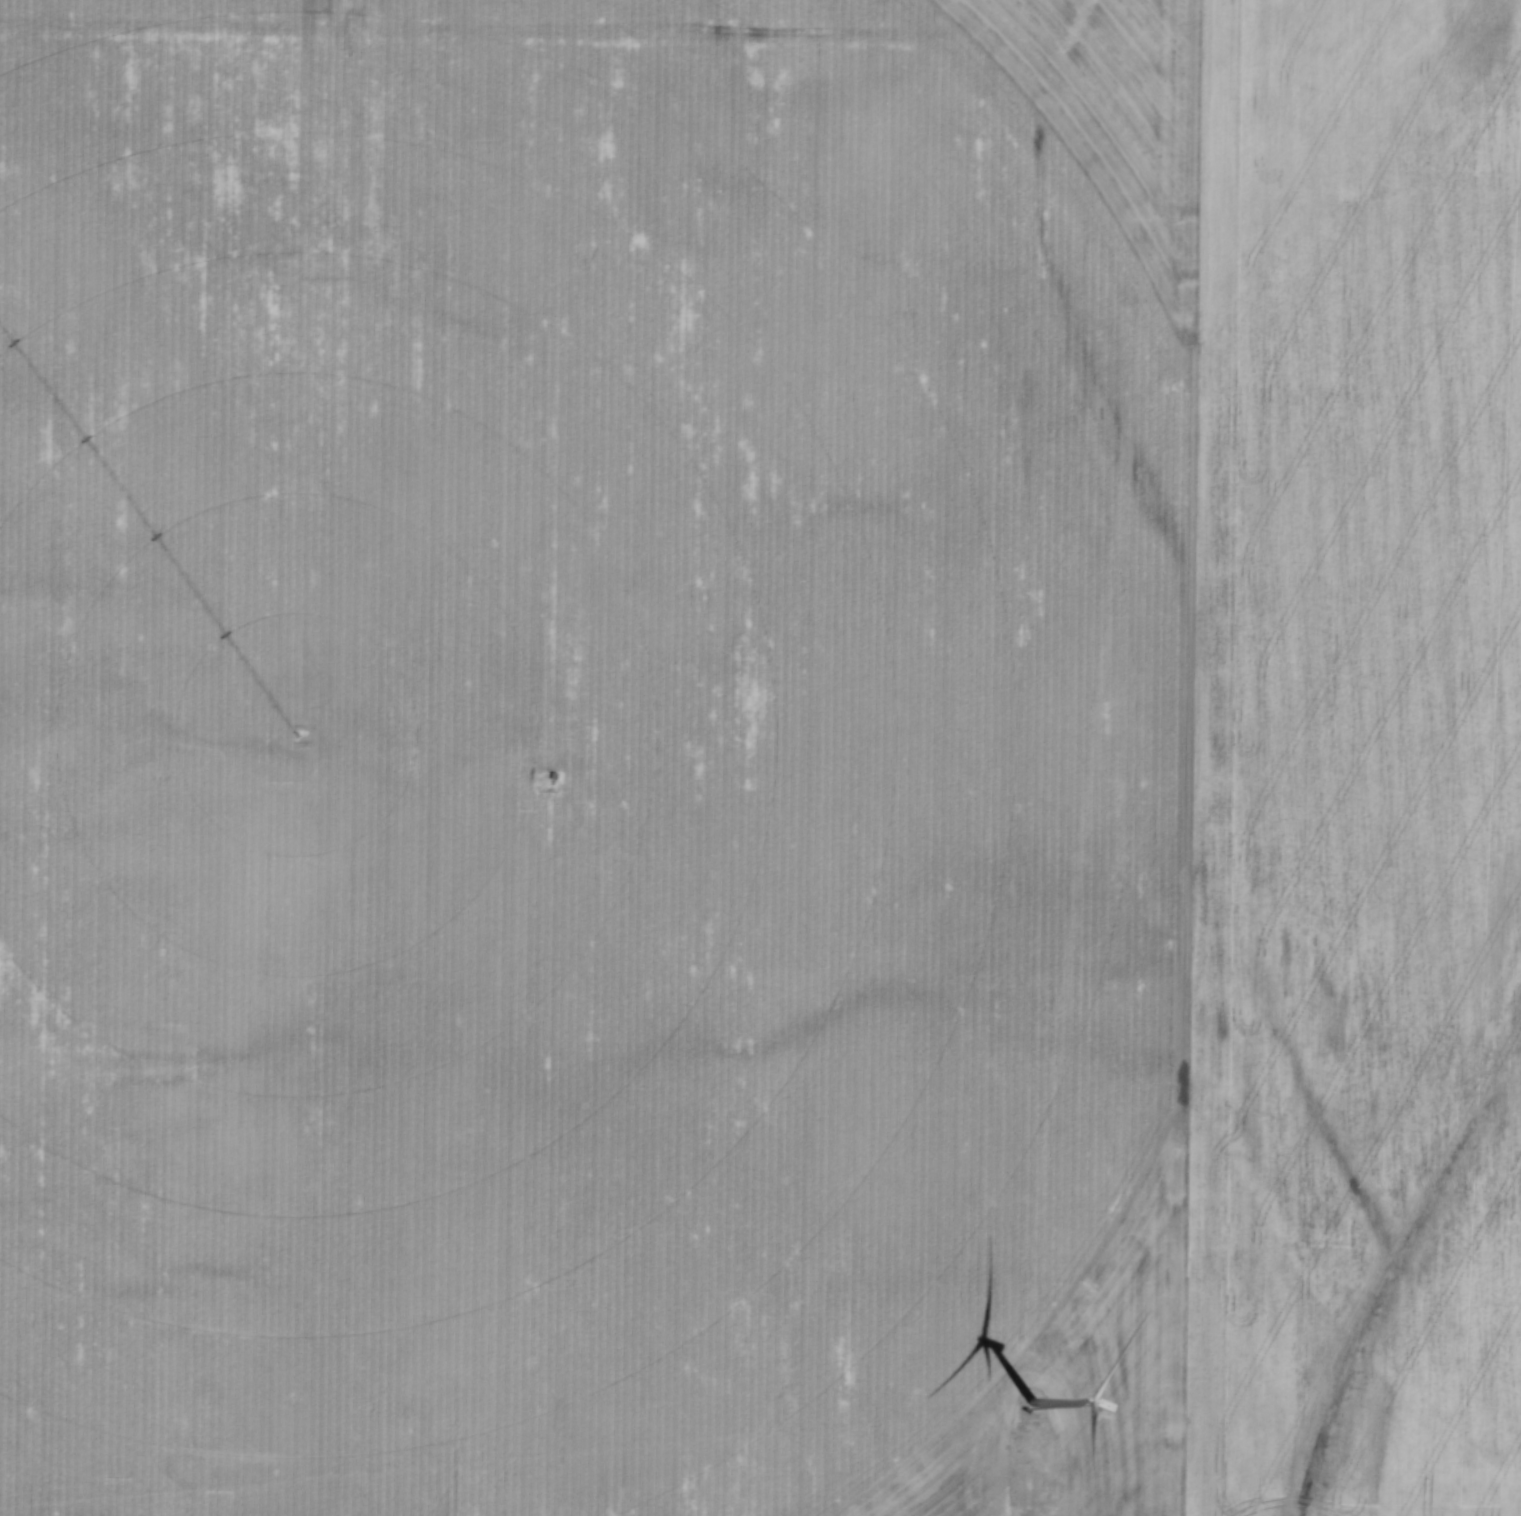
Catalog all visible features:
wind turbine: (1032, 1403)

